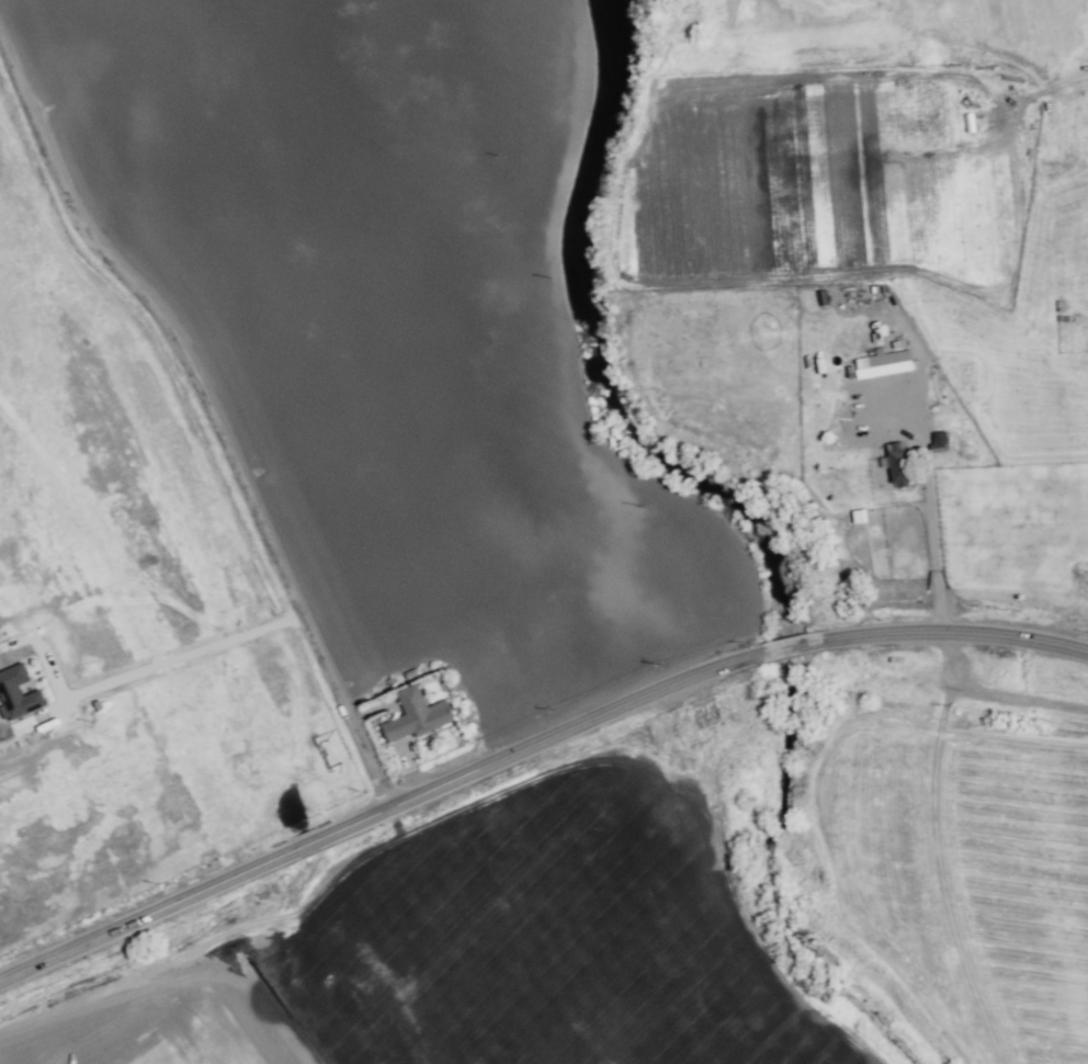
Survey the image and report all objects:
crop: (565, 315)
crop: (377, 325)
building: (884, 358)
road: (206, 430)
building: (938, 442)
building: (899, 465)
building: (858, 516)
road: (928, 541)
road: (185, 655)
building: (16, 693)
building: (413, 715)
road: (530, 754)
crop: (962, 842)

